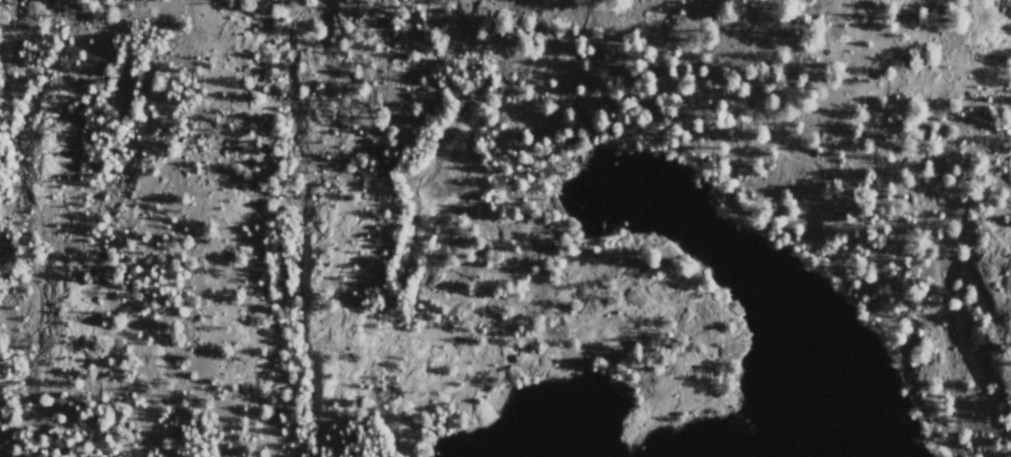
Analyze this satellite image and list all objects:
road: (802, 153)
road: (859, 207)

